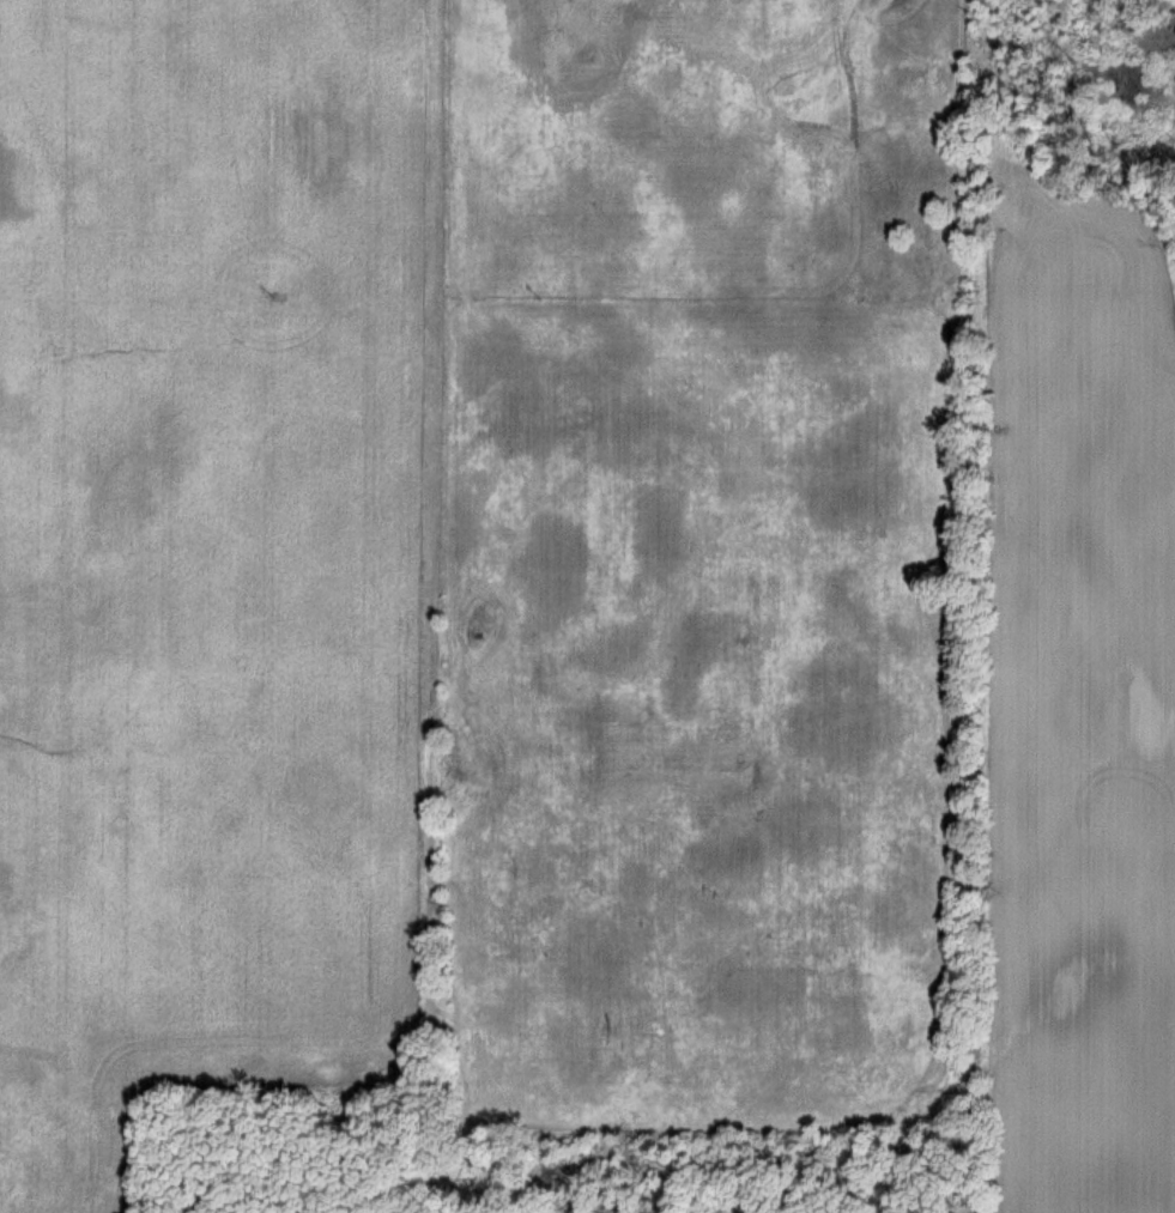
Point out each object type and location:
building: (922, 232)

